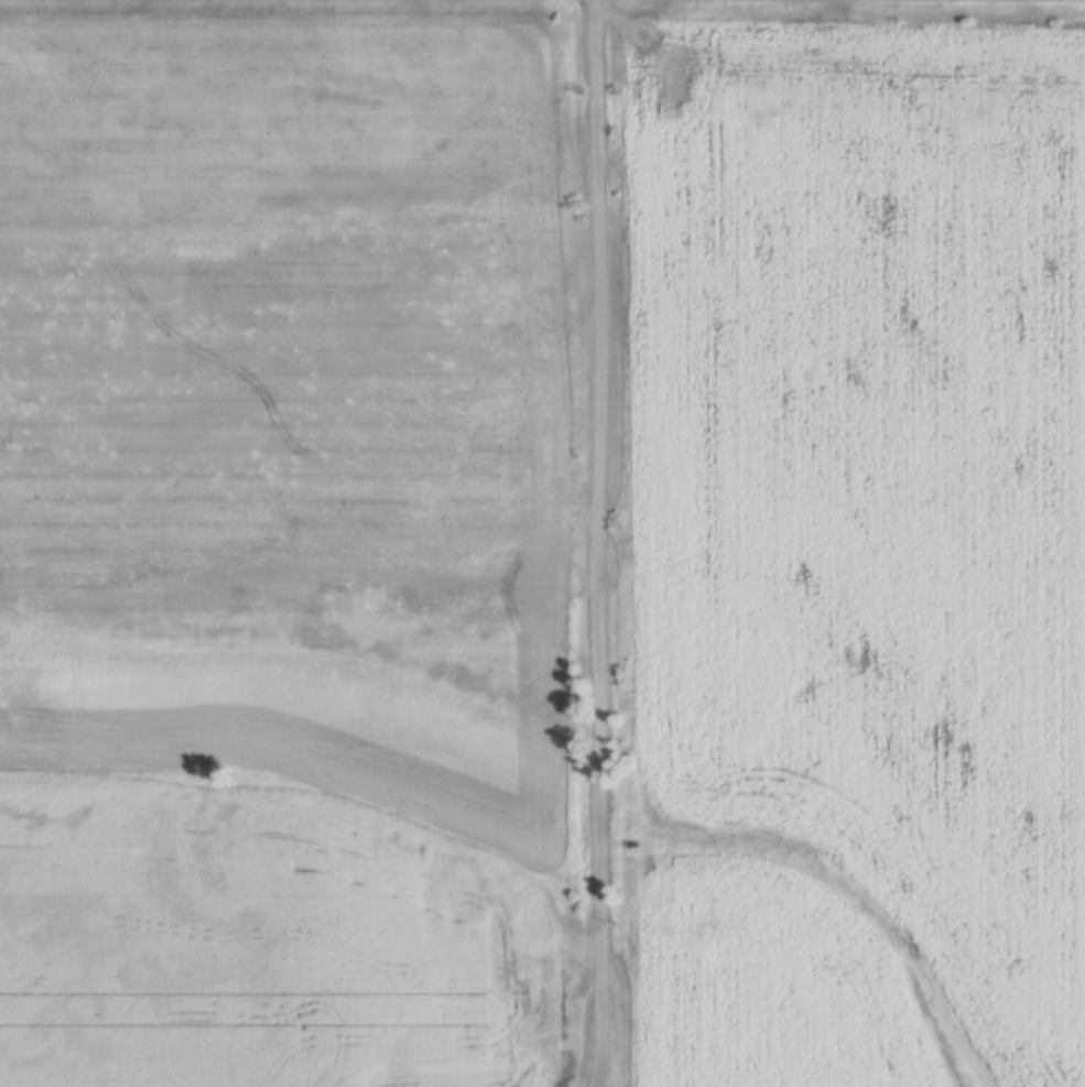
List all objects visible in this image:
road: (595, 543)

